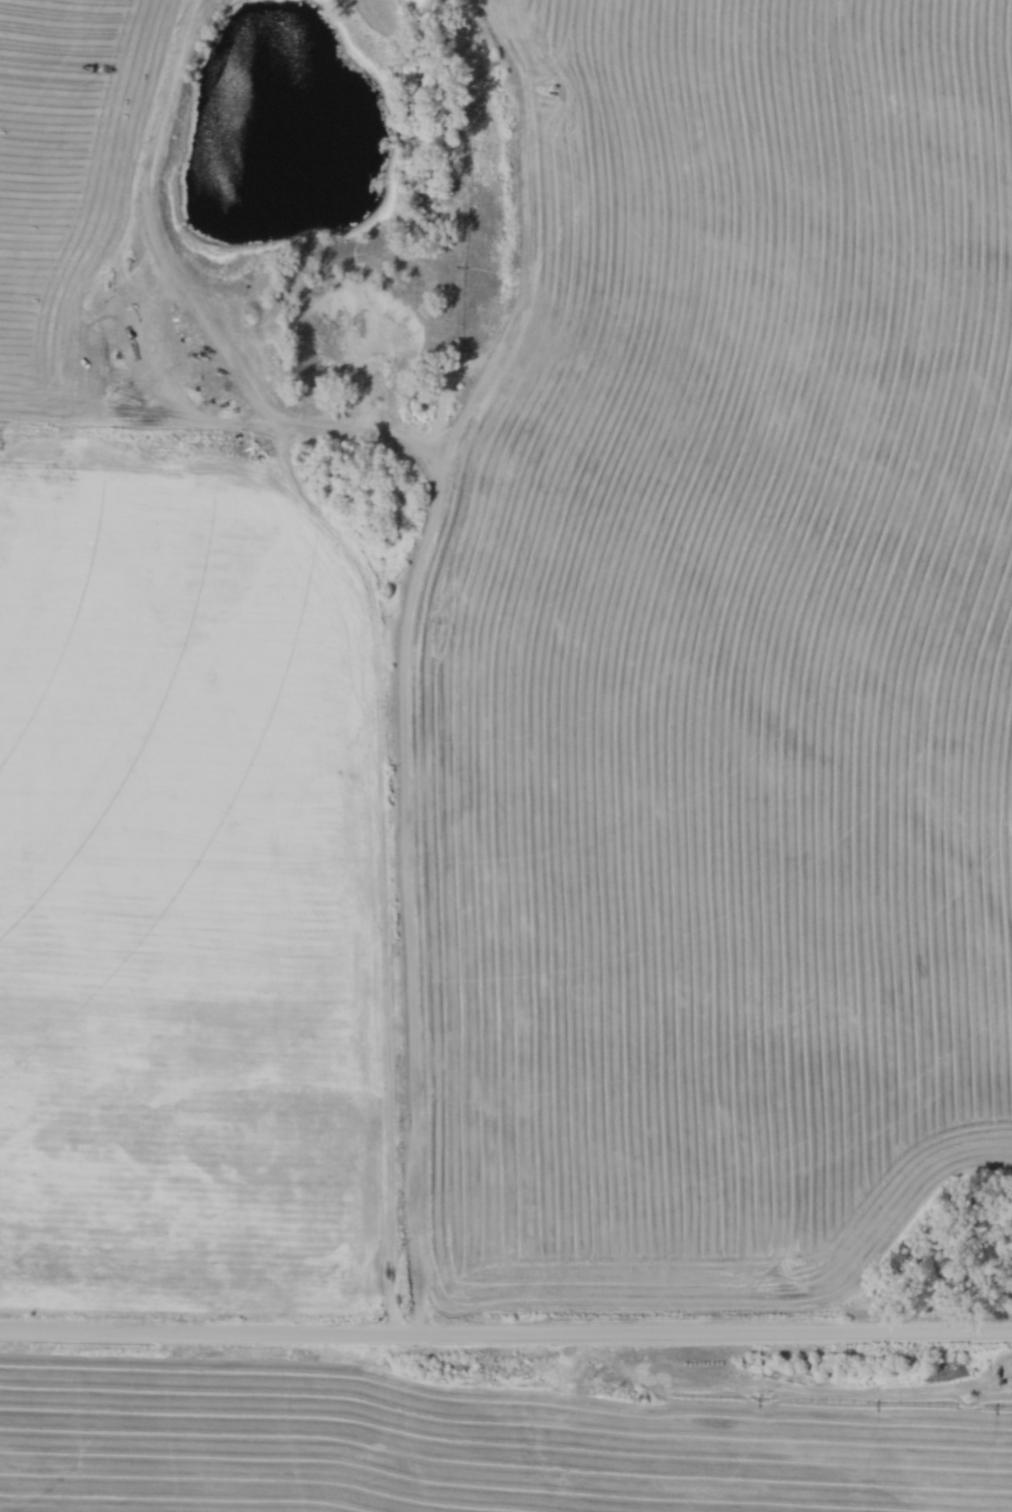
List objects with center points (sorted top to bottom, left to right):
road: (384, 869)
road: (505, 1336)

